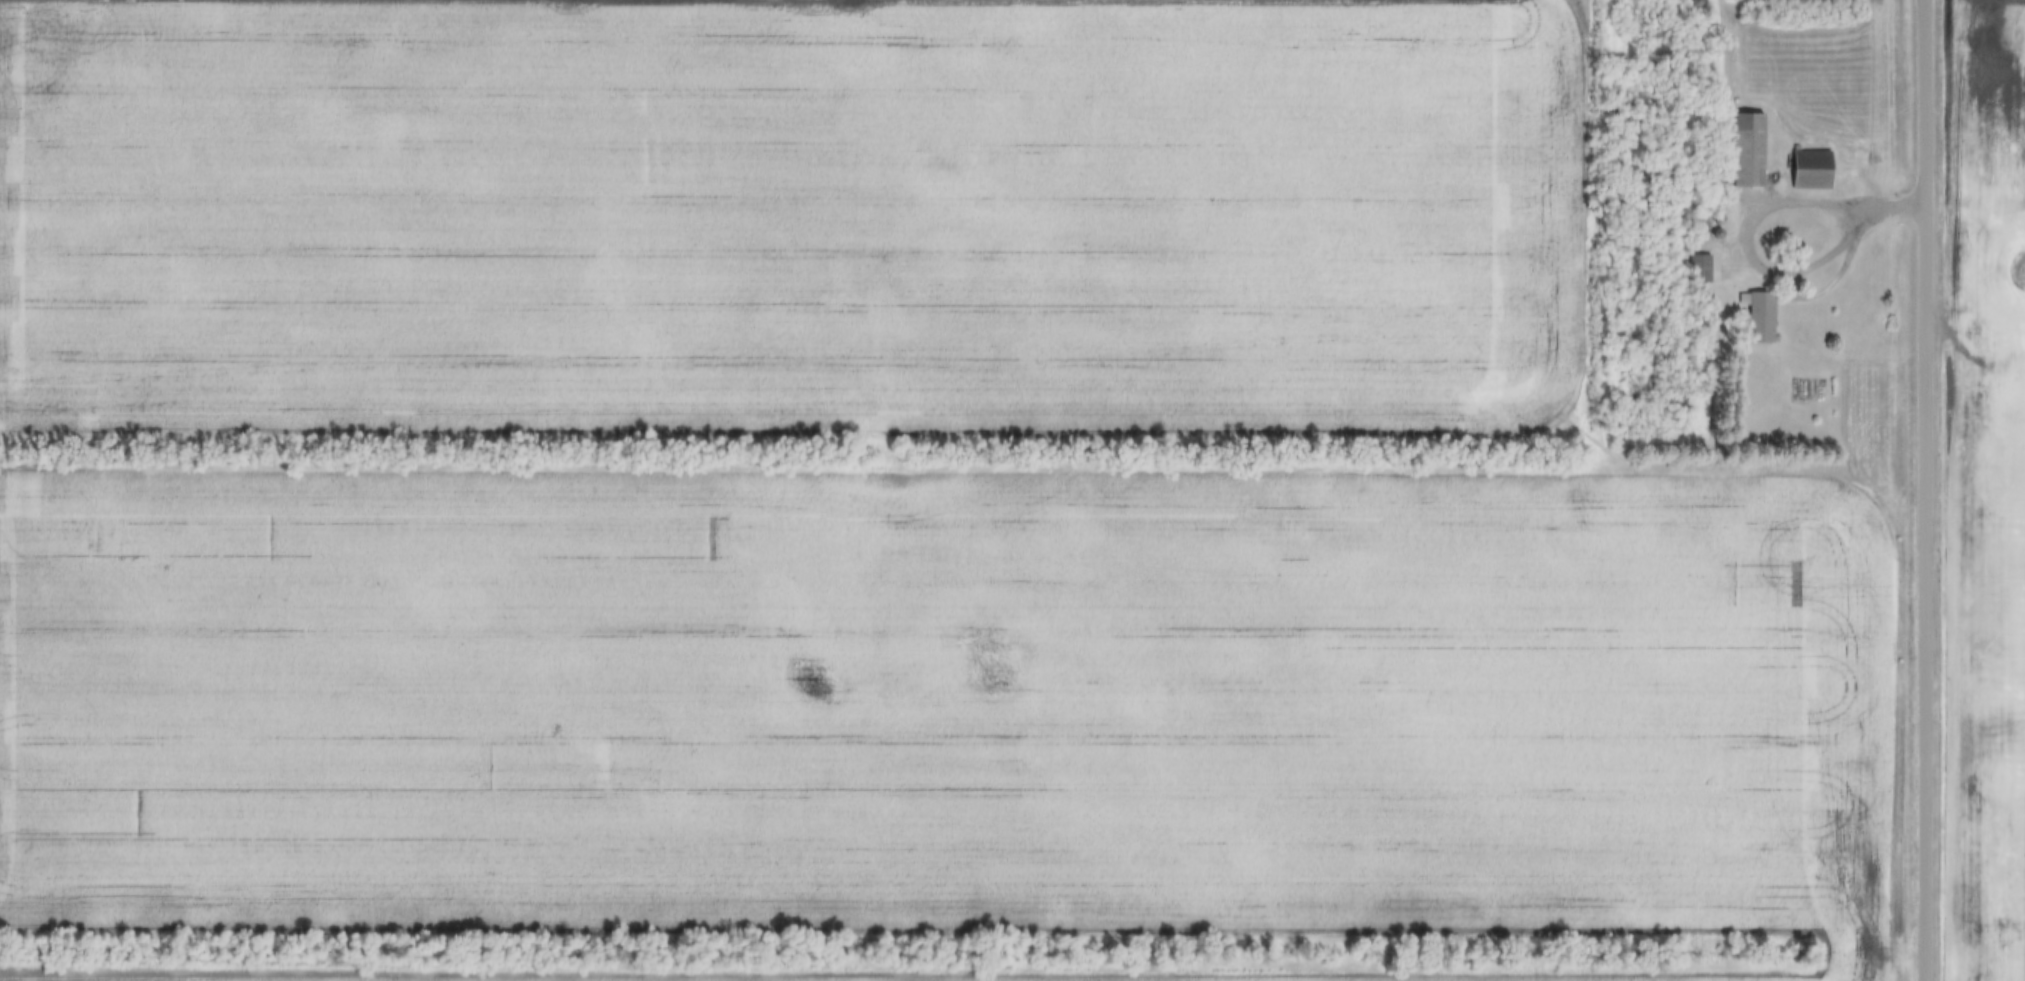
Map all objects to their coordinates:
building: (1743, 150)
building: (1807, 169)
building: (1697, 268)
road: (1772, 269)
building: (1755, 315)
road: (1925, 490)

